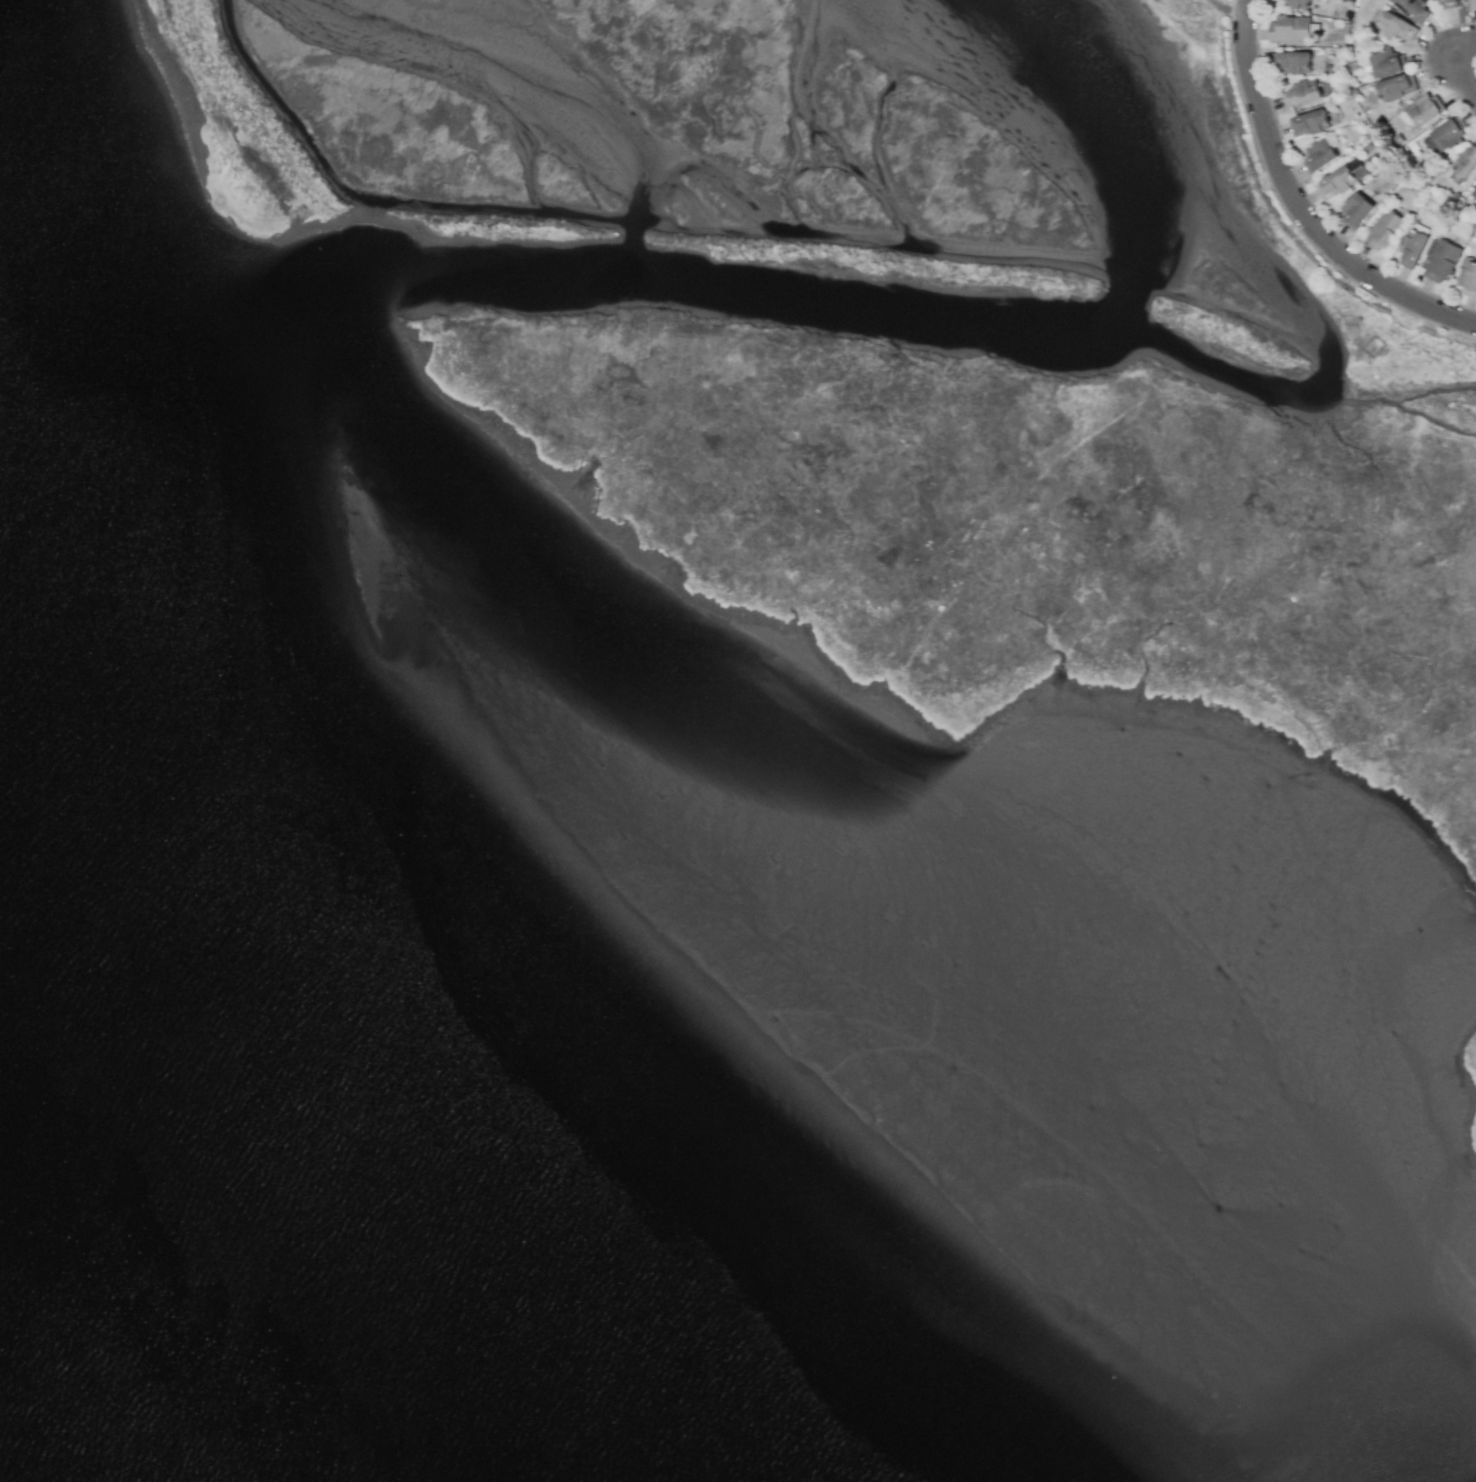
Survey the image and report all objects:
building: (1435, 0)
building: (1297, 3)
building: (1448, 4)
building: (1471, 4)
building: (1413, 9)
building: (1396, 26)
building: (1290, 29)
building: (1291, 62)
building: (1387, 63)
road: (1457, 65)
building: (1395, 87)
building: (1300, 94)
building: (1423, 110)
building: (1309, 123)
building: (1444, 136)
building: (1320, 155)
building: (1465, 161)
building: (1341, 178)
building: (1475, 191)
building: (1475, 192)
road: (1299, 206)
building: (1355, 211)
building: (1383, 229)
building: (1412, 249)
building: (1442, 261)
building: (1467, 277)
river: (240, 1237)

